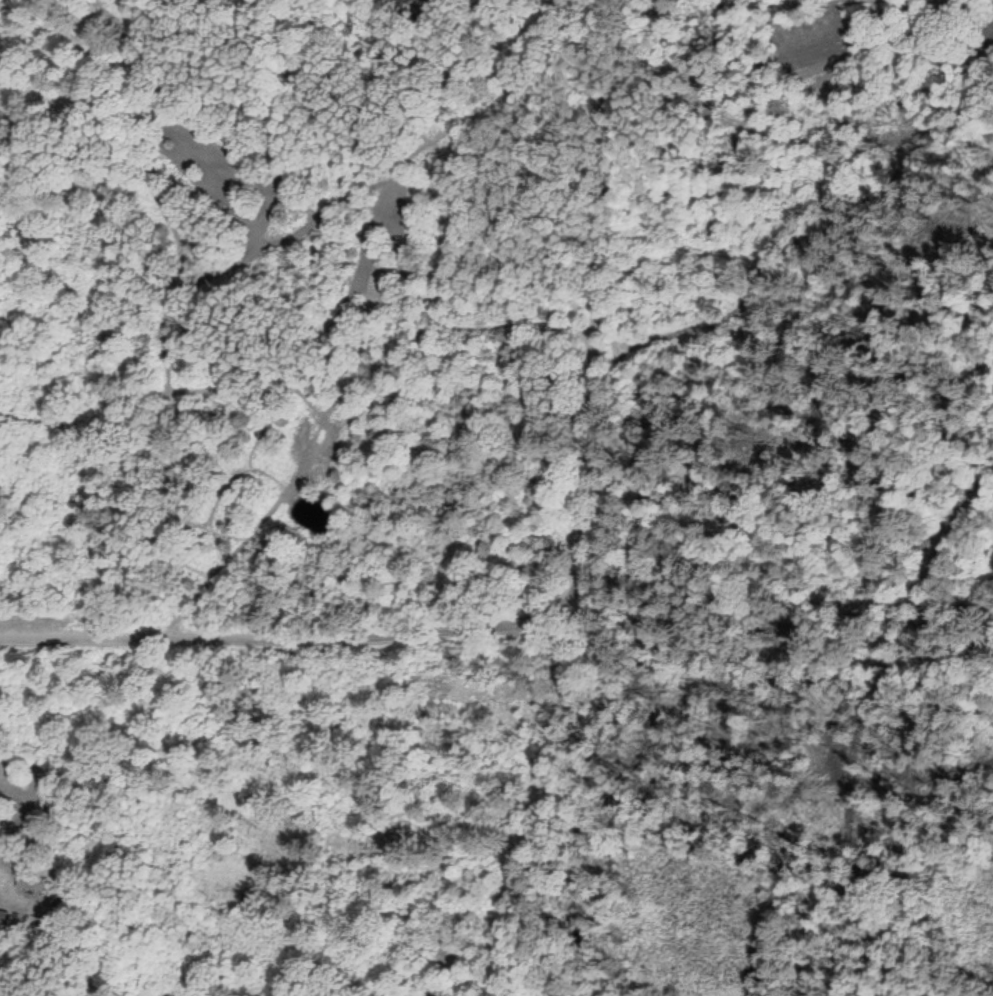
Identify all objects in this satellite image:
road: (581, 301)
road: (274, 620)
building: (32, 883)
building: (3, 918)

